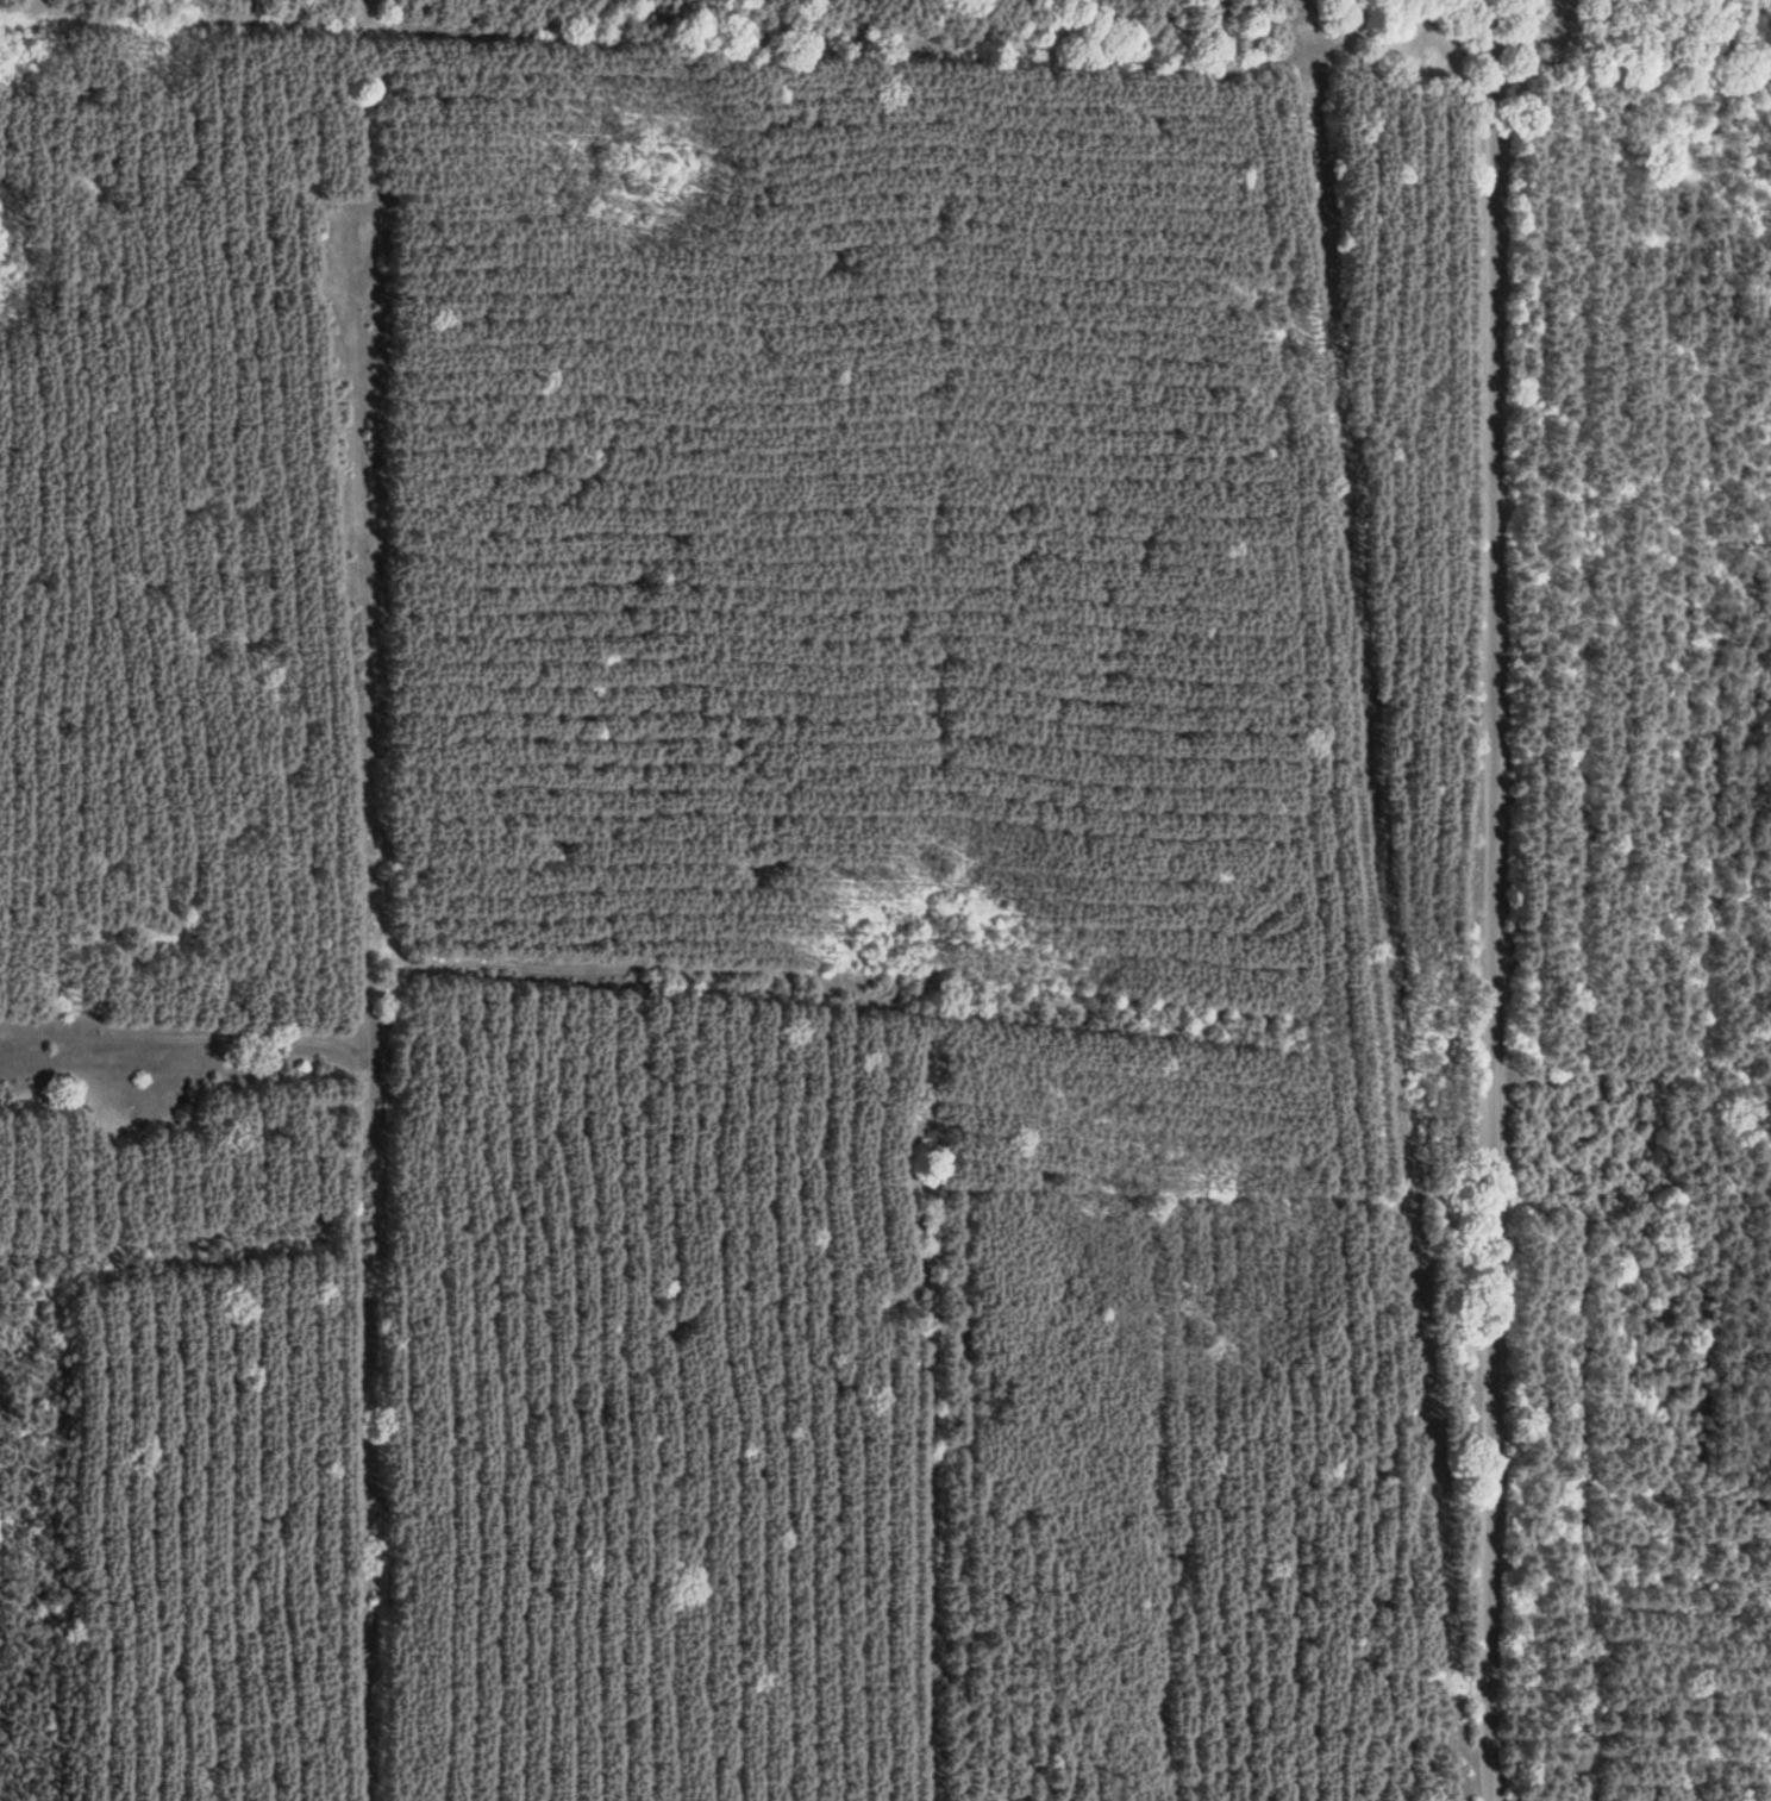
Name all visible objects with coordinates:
road: (1481, 900)

